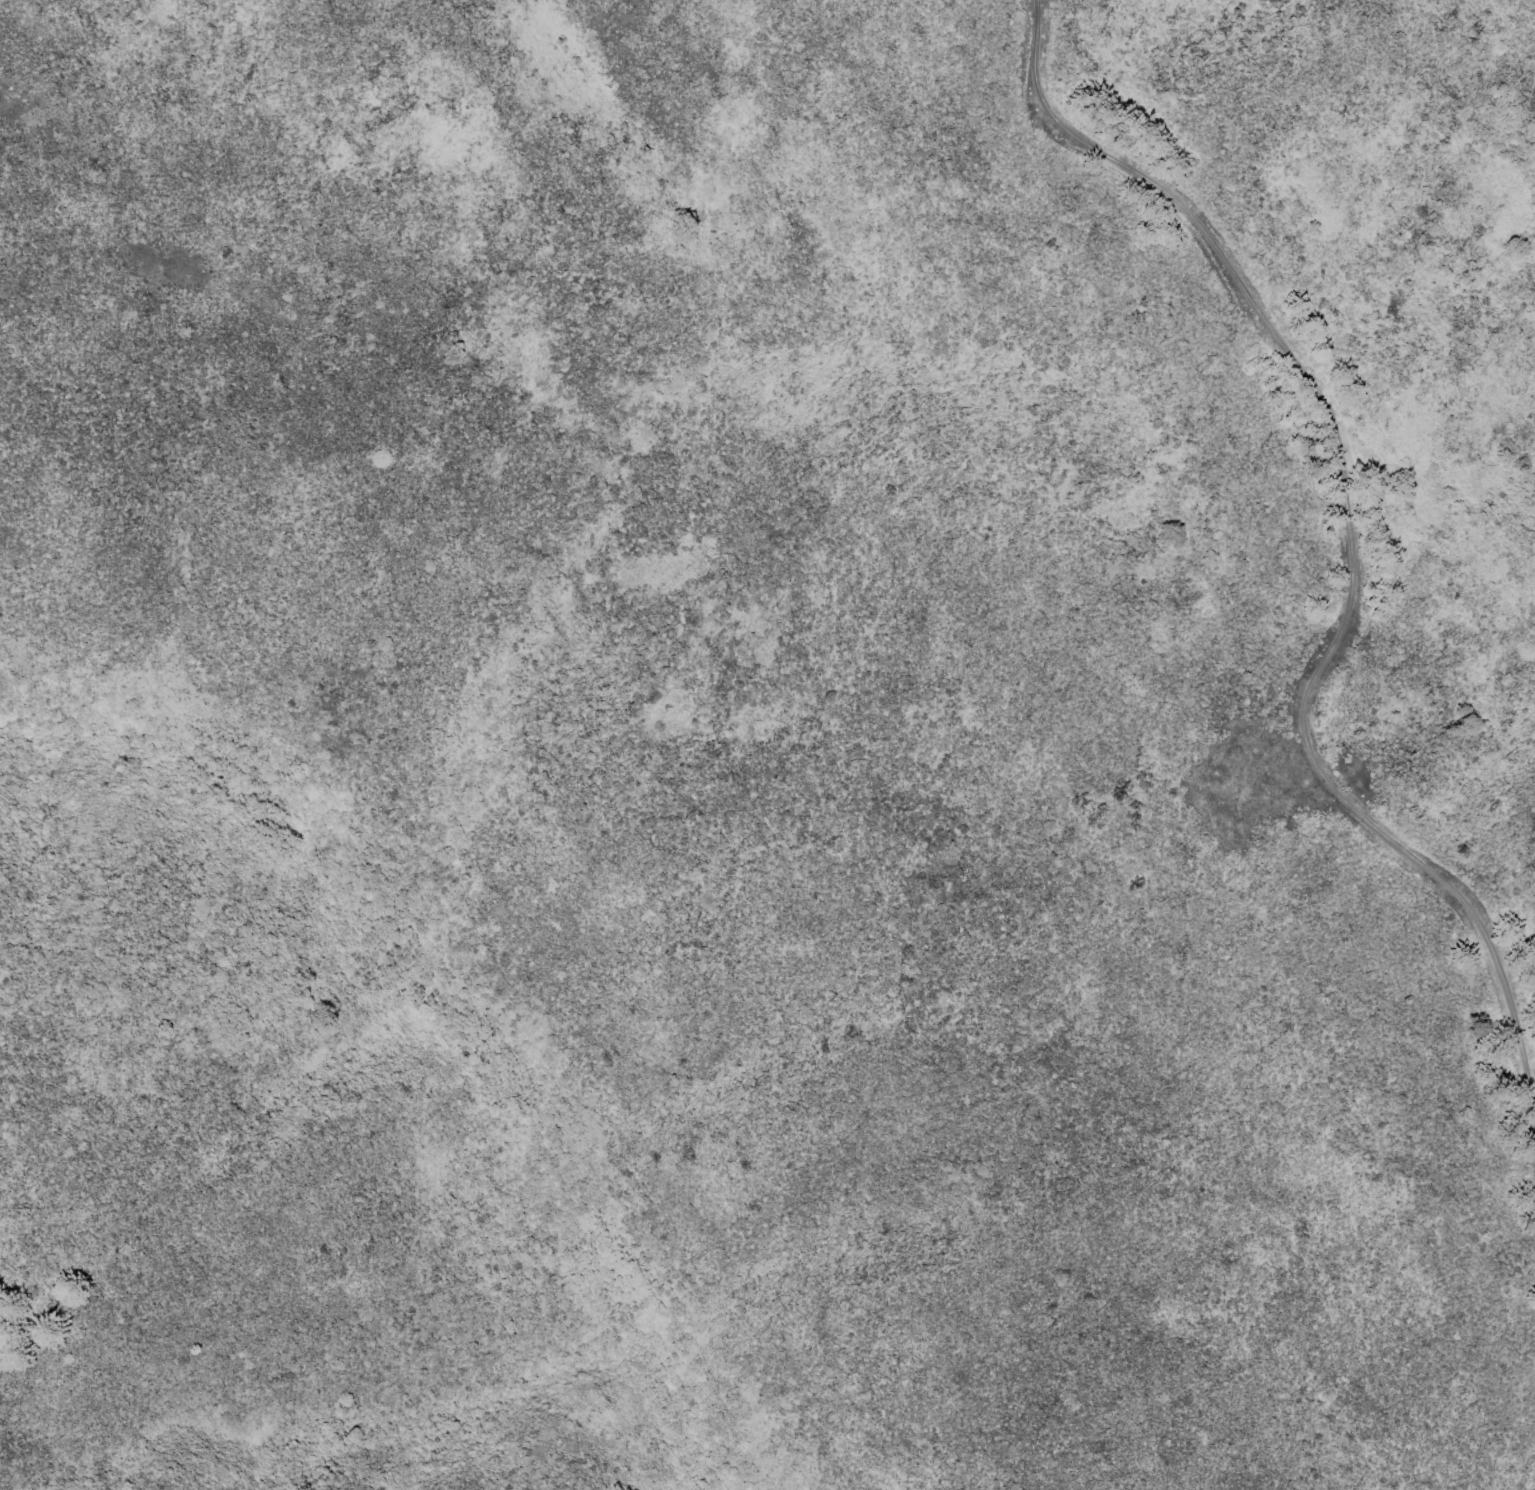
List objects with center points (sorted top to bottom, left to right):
road: (1349, 542)

